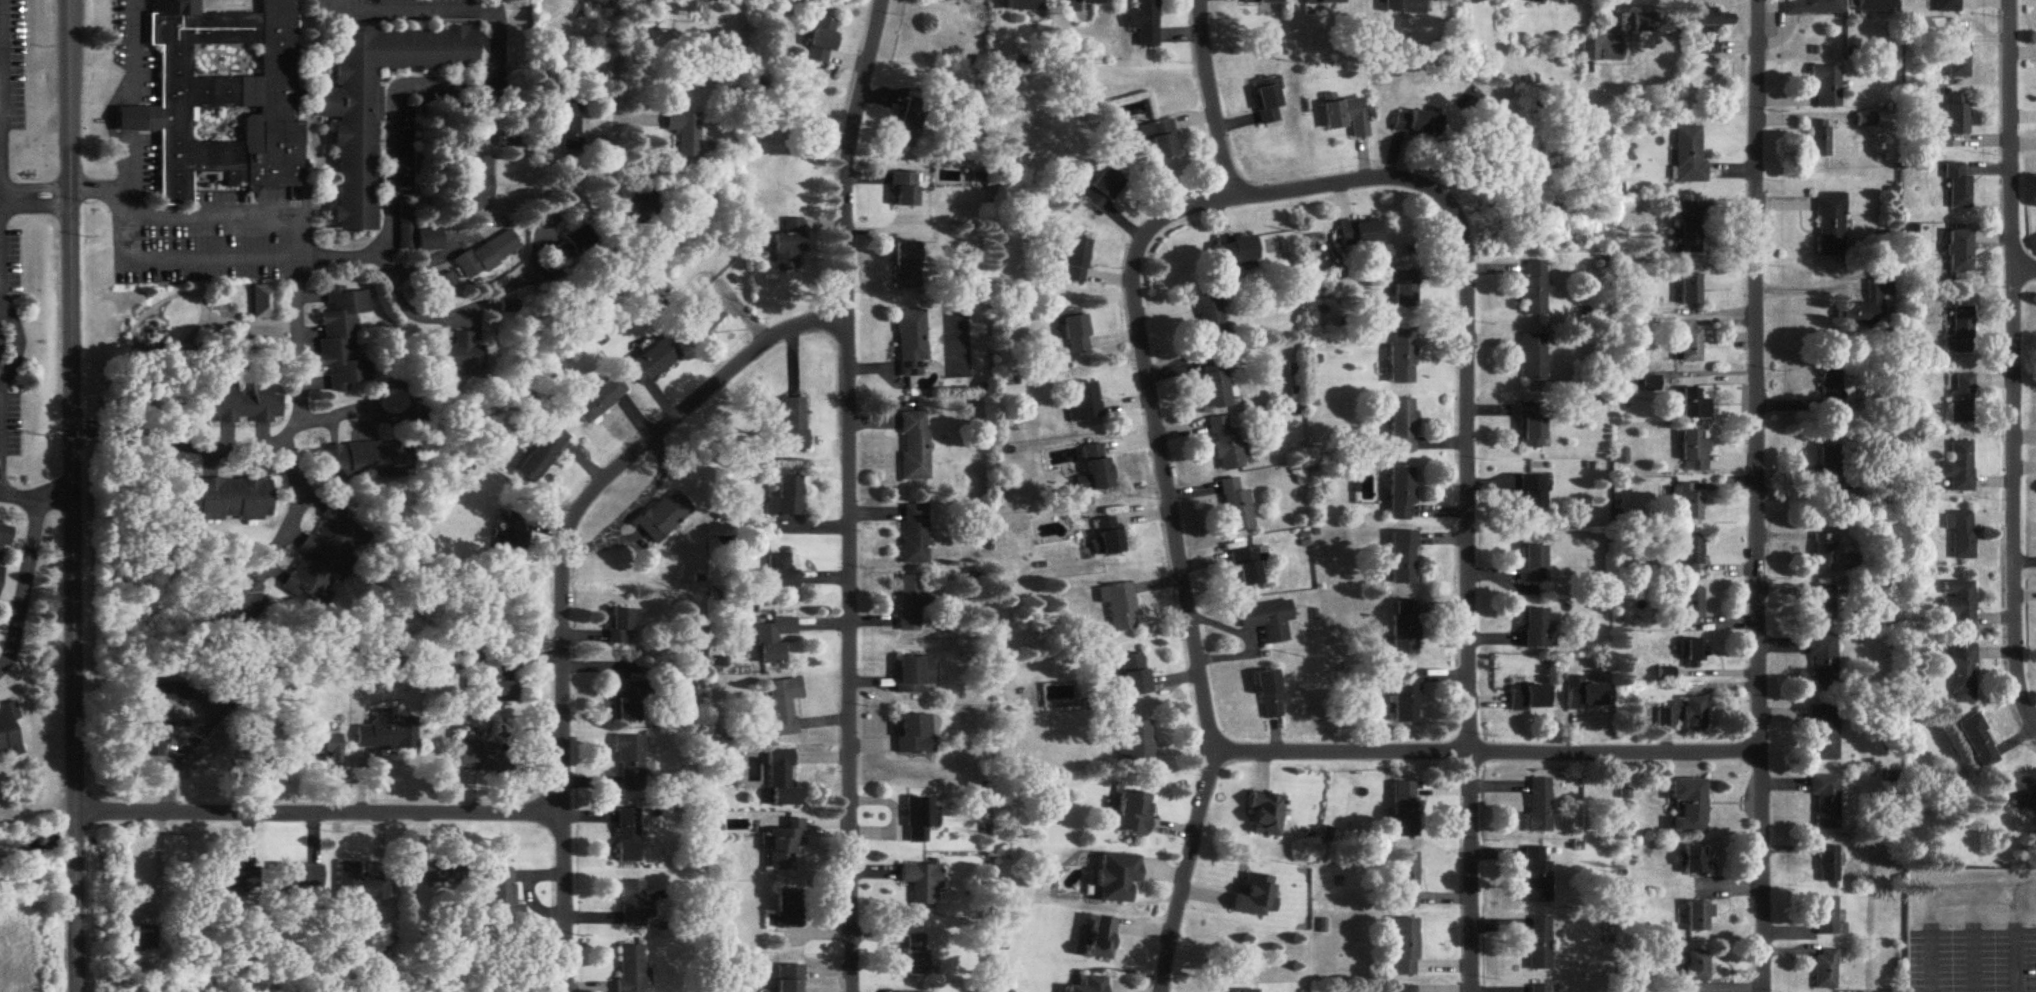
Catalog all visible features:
building: (947, 0)
building: (1533, 1)
building: (1083, 2)
building: (1262, 2)
building: (1325, 2)
building: (1024, 5)
building: (1946, 6)
building: (673, 7)
building: (1404, 7)
building: (1811, 7)
building: (1874, 7)
building: (1145, 22)
building: (1640, 24)
building: (1709, 27)
road: (1611, 29)
building: (821, 41)
building: (1588, 50)
road: (126, 52)
building: (1958, 56)
building: (1825, 87)
road: (614, 93)
road: (1209, 99)
building: (227, 100)
building: (1267, 102)
road: (127, 117)
building: (1346, 117)
building: (1950, 123)
building: (565, 124)
building: (1416, 124)
building: (683, 133)
building: (904, 134)
building: (1159, 139)
building: (1819, 139)
building: (1689, 156)
road: (126, 159)
building: (356, 174)
building: (477, 186)
building: (1957, 187)
building: (903, 190)
building: (1103, 190)
road: (32, 192)
road: (387, 218)
building: (1831, 223)
building: (407, 231)
building: (1358, 233)
building: (1691, 239)
building: (428, 240)
building: (571, 245)
building: (790, 247)
building: (1235, 251)
building: (1959, 252)
road: (440, 254)
building: (487, 255)
road: (154, 257)
building: (1073, 260)
building: (907, 266)
road: (2024, 273)
building: (447, 281)
building: (1534, 288)
building: (1691, 290)
building: (1402, 291)
building: (264, 302)
road: (475, 304)
building: (1863, 310)
building: (702, 317)
building: (1210, 319)
building: (1071, 331)
building: (1960, 332)
building: (344, 340)
building: (910, 343)
building: (1691, 346)
building: (460, 356)
building: (1533, 357)
building: (1402, 358)
building: (653, 362)
road: (2013, 367)
building: (1214, 384)
building: (1831, 388)
road: (1, 396)
building: (1961, 397)
building: (599, 401)
building: (1083, 404)
building: (246, 406)
building: (1694, 406)
road: (337, 410)
building: (793, 426)
building: (1402, 427)
building: (1533, 433)
road: (184, 440)
building: (1224, 444)
road: (1158, 445)
building: (914, 447)
building: (1695, 451)
building: (543, 456)
building: (353, 462)
building: (1959, 467)
building: (1832, 476)
building: (1094, 477)
road: (1467, 483)
road: (849, 494)
road: (71, 495)
building: (1401, 495)
building: (1532, 495)
road: (1758, 496)
building: (786, 498)
building: (230, 500)
road: (35, 501)
building: (1689, 503)
building: (1234, 507)
building: (663, 516)
building: (511, 535)
building: (914, 535)
building: (5, 537)
building: (1106, 537)
building: (1691, 555)
building: (1830, 555)
building: (325, 558)
building: (1403, 559)
building: (1533, 565)
building: (1248, 567)
building: (777, 572)
building: (0, 573)
road: (563, 580)
road: (21, 589)
building: (912, 601)
building: (236, 603)
building: (1825, 603)
building: (1958, 605)
building: (1119, 607)
building: (1693, 607)
building: (1268, 621)
building: (621, 626)
building: (1404, 628)
building: (1535, 629)
building: (773, 640)
building: (1693, 654)
building: (1823, 662)
building: (1962, 674)
building: (913, 675)
building: (1134, 676)
building: (489, 683)
building: (1058, 695)
building: (1268, 695)
building: (1589, 696)
building: (1405, 697)
building: (1529, 697)
building: (627, 702)
building: (783, 706)
building: (1684, 715)
building: (9, 734)
building: (1823, 734)
building: (913, 735)
building: (396, 738)
building: (1135, 742)
building: (1979, 742)
building: (330, 748)
road: (1489, 755)
building: (484, 756)
building: (630, 764)
building: (781, 780)
building: (1825, 801)
building: (1539, 805)
building: (1689, 806)
building: (1404, 811)
building: (1132, 814)
road: (319, 815)
building: (1265, 816)
building: (919, 819)
building: (628, 836)
building: (785, 846)
building: (1695, 861)
building: (1827, 865)
road: (1187, 869)
building: (438, 872)
building: (1537, 876)
building: (300, 877)
building: (1115, 878)
building: (226, 880)
building: (1405, 880)
building: (922, 884)
building: (361, 886)
building: (1254, 896)
building: (504, 898)
building: (632, 905)
building: (789, 909)
building: (1698, 917)
building: (1825, 917)
building: (143, 939)
building: (1099, 939)
building: (1539, 944)
building: (1405, 947)
building: (915, 958)
building: (1697, 967)
building: (1825, 969)
building: (632, 970)
building: (788, 979)
building: (1089, 985)
building: (1403, 988)
building: (1539, 988)
building: (1245, 991)

